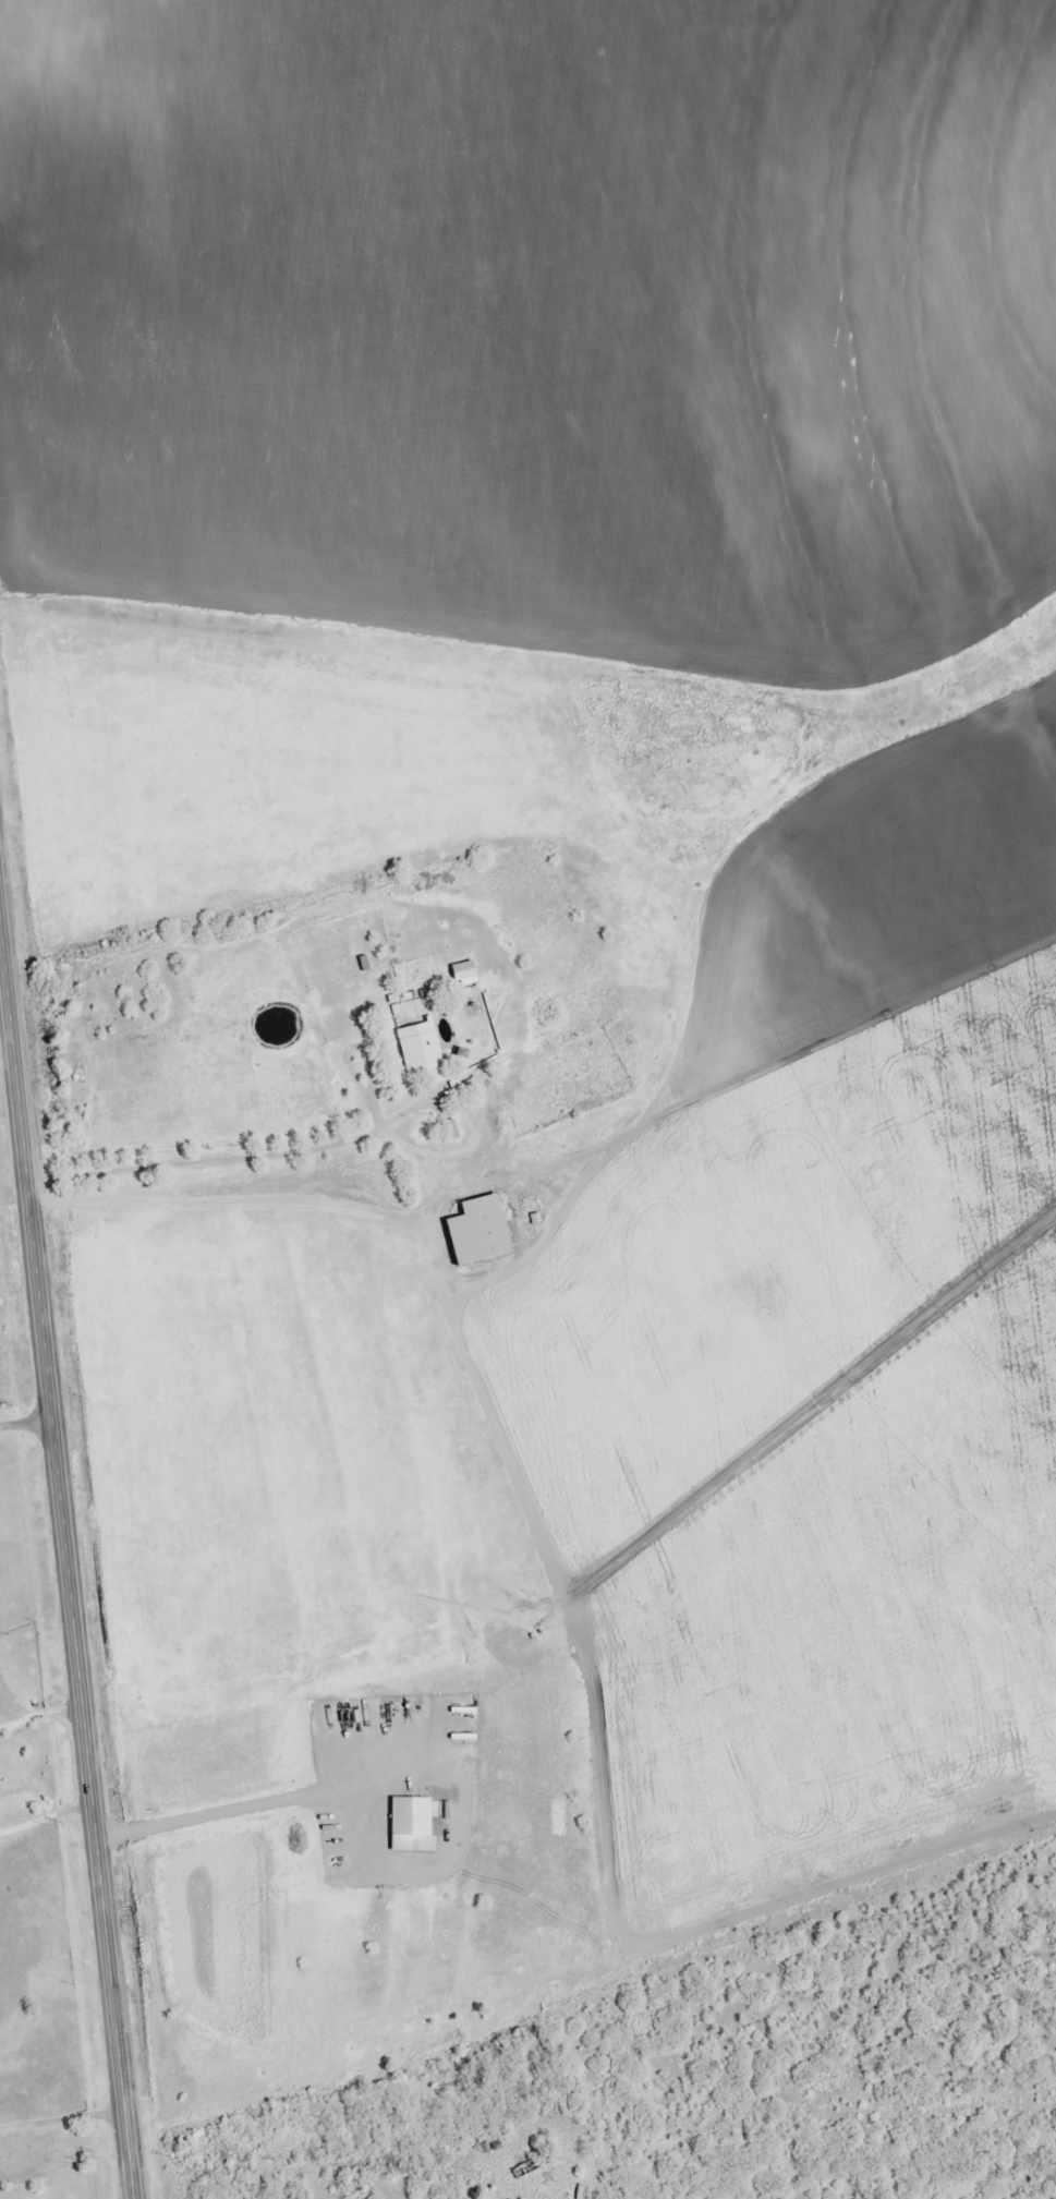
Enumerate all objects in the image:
road: (186, 101)
road: (0, 953)
building: (423, 1059)
building: (484, 1231)
road: (27, 1419)
road: (69, 1570)
road: (40, 1716)
road: (46, 1820)
building: (417, 1828)
road: (60, 2102)
road: (454, 2172)

